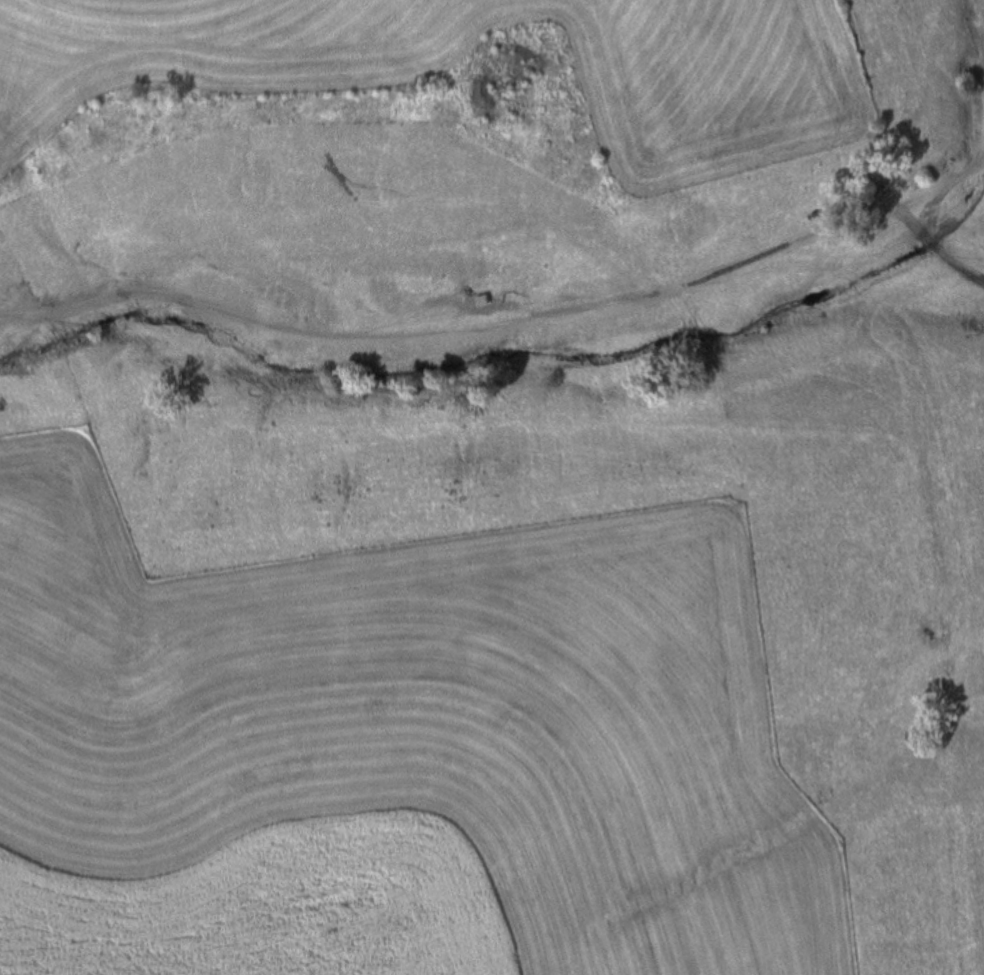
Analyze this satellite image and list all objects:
road: (506, 314)

